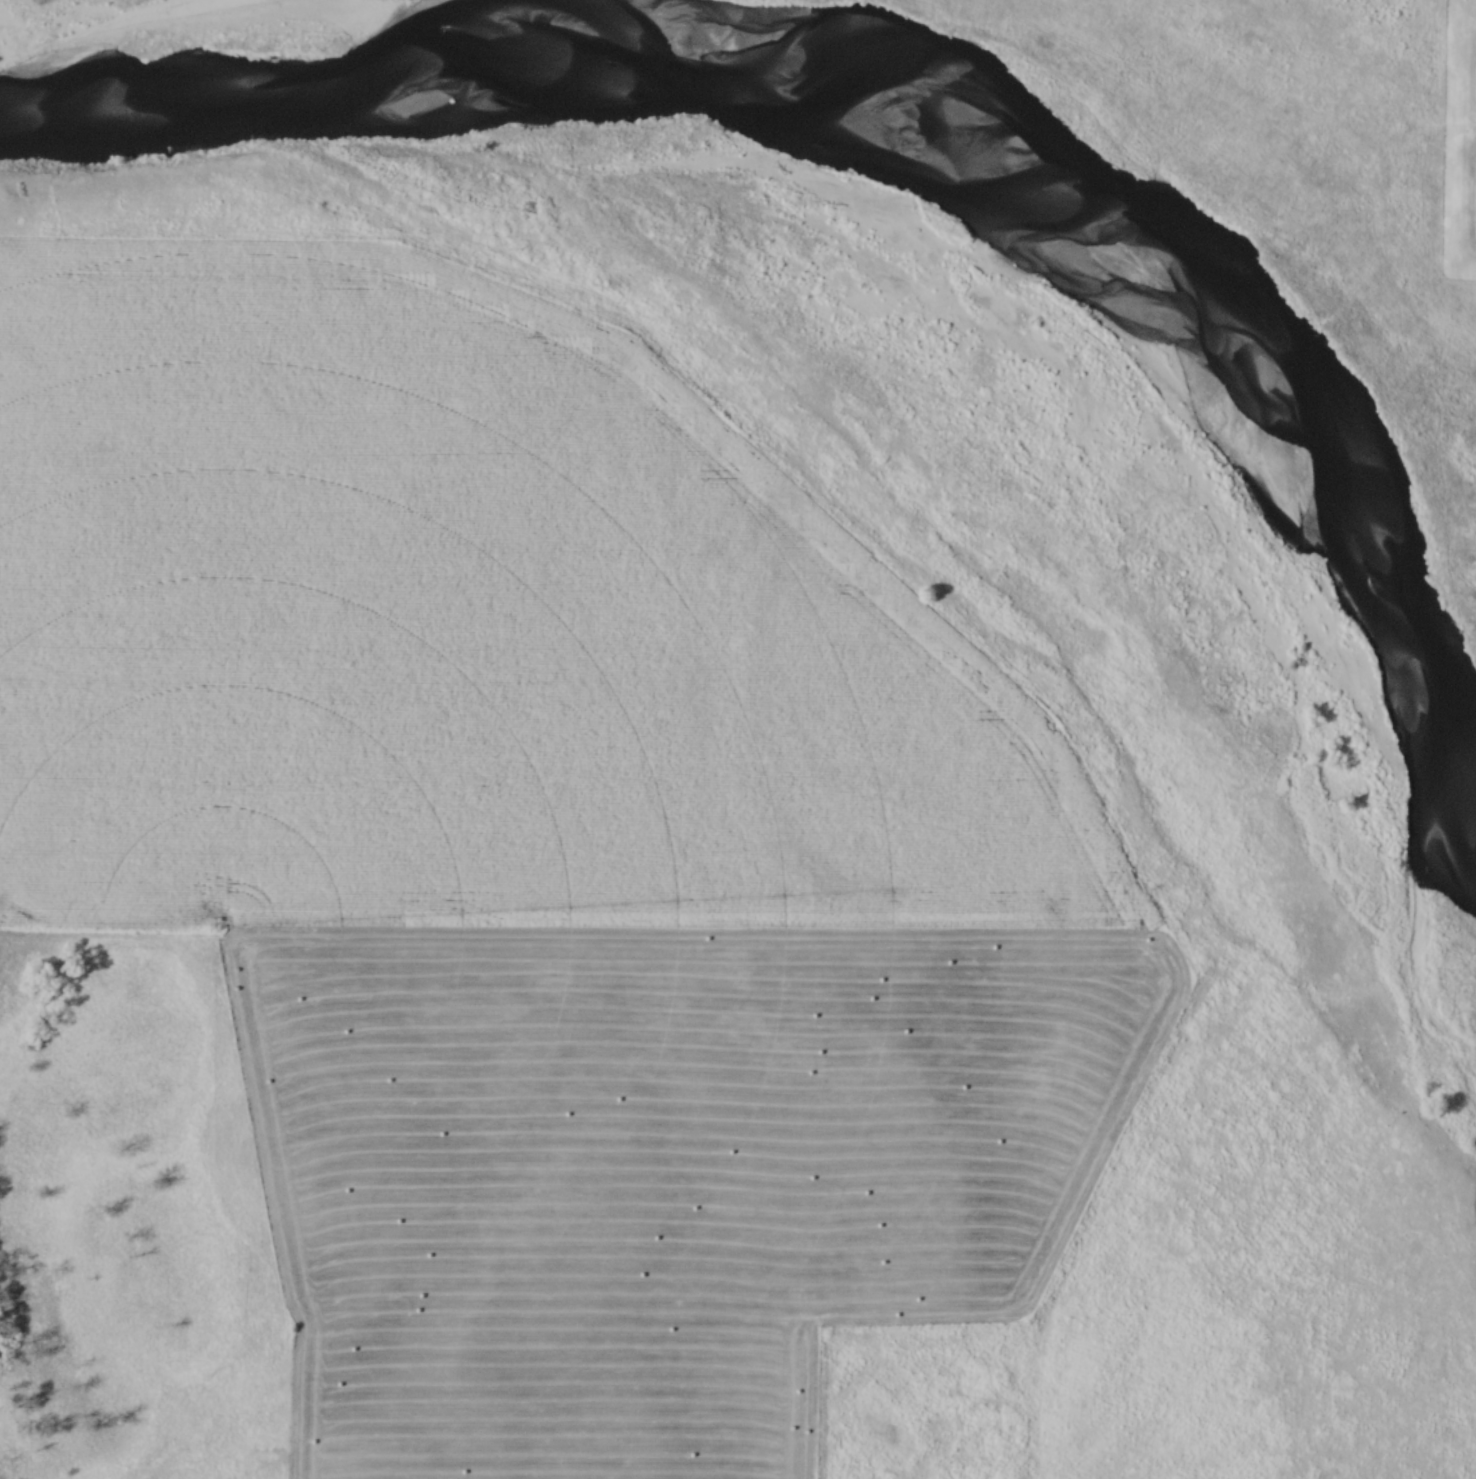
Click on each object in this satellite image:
river: (898, 116)

